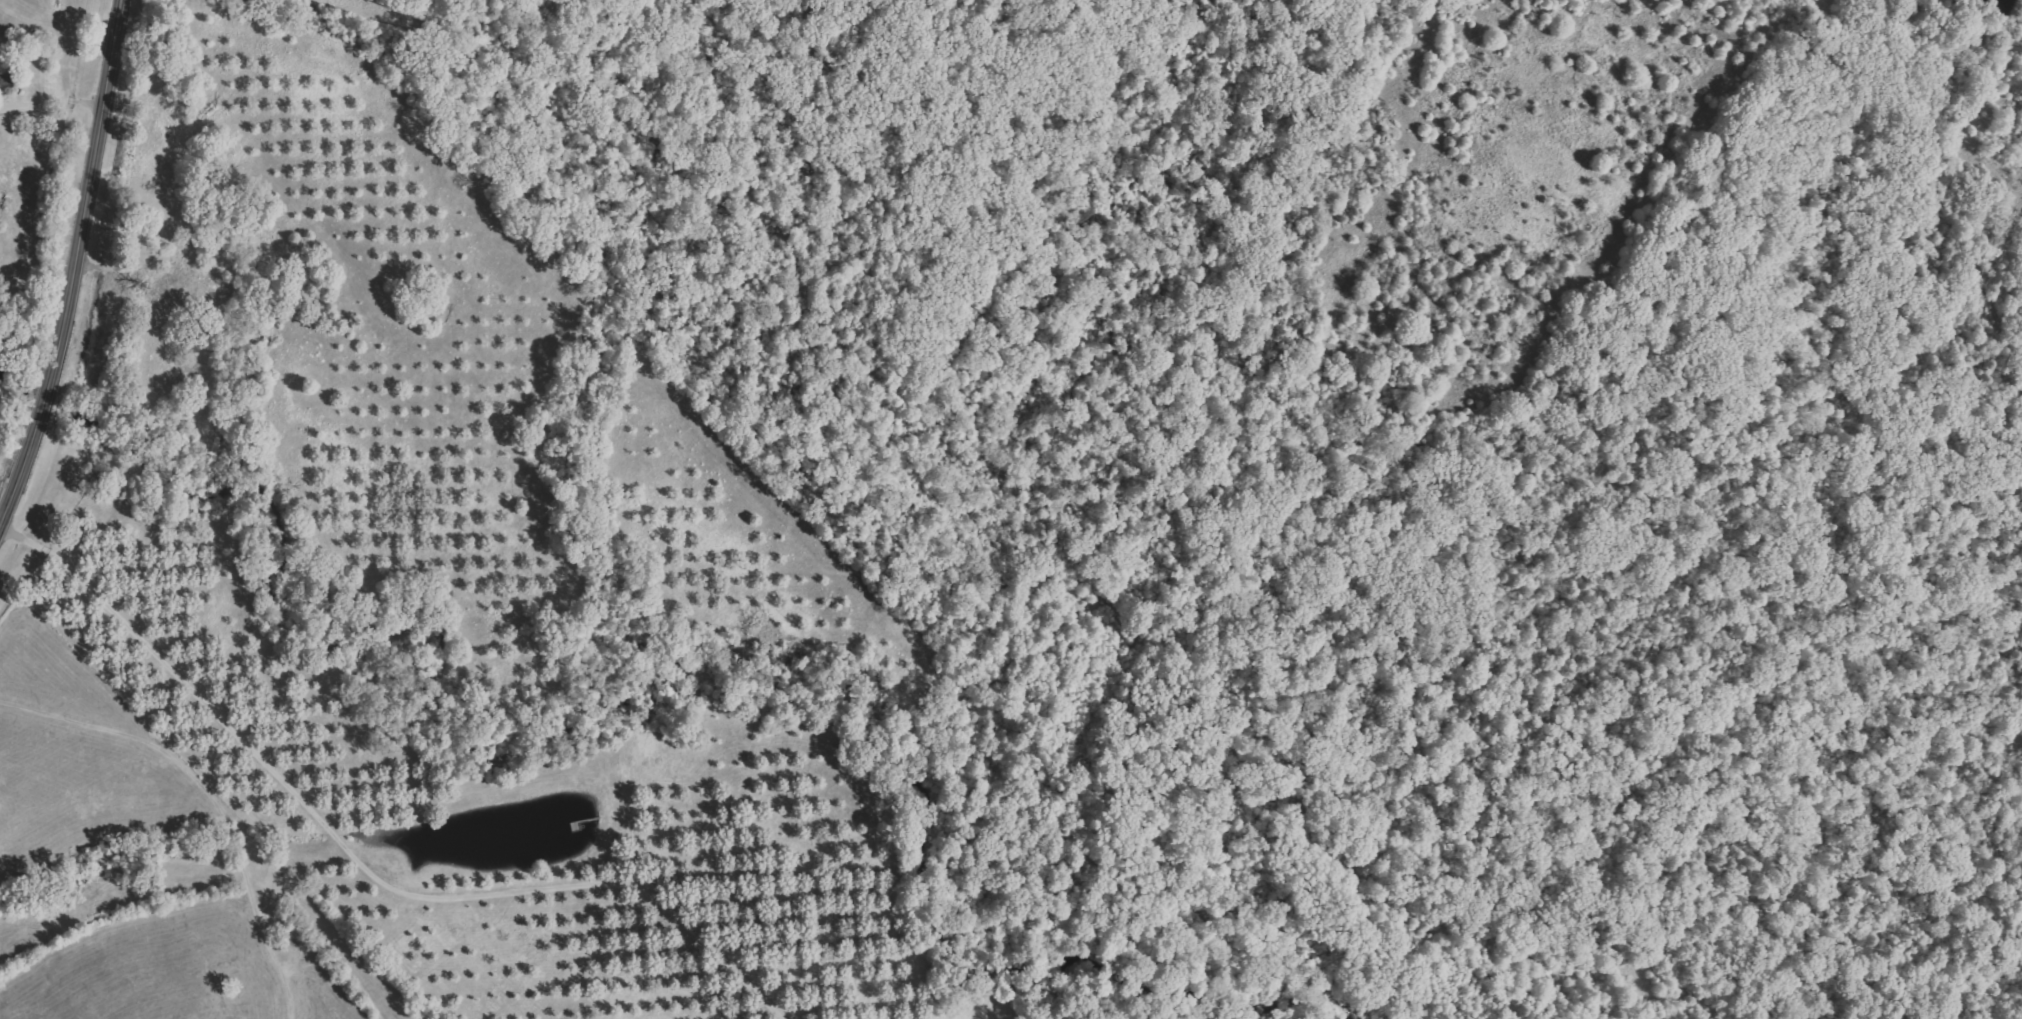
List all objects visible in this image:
road: (80, 272)
road: (359, 860)
road: (52, 984)

